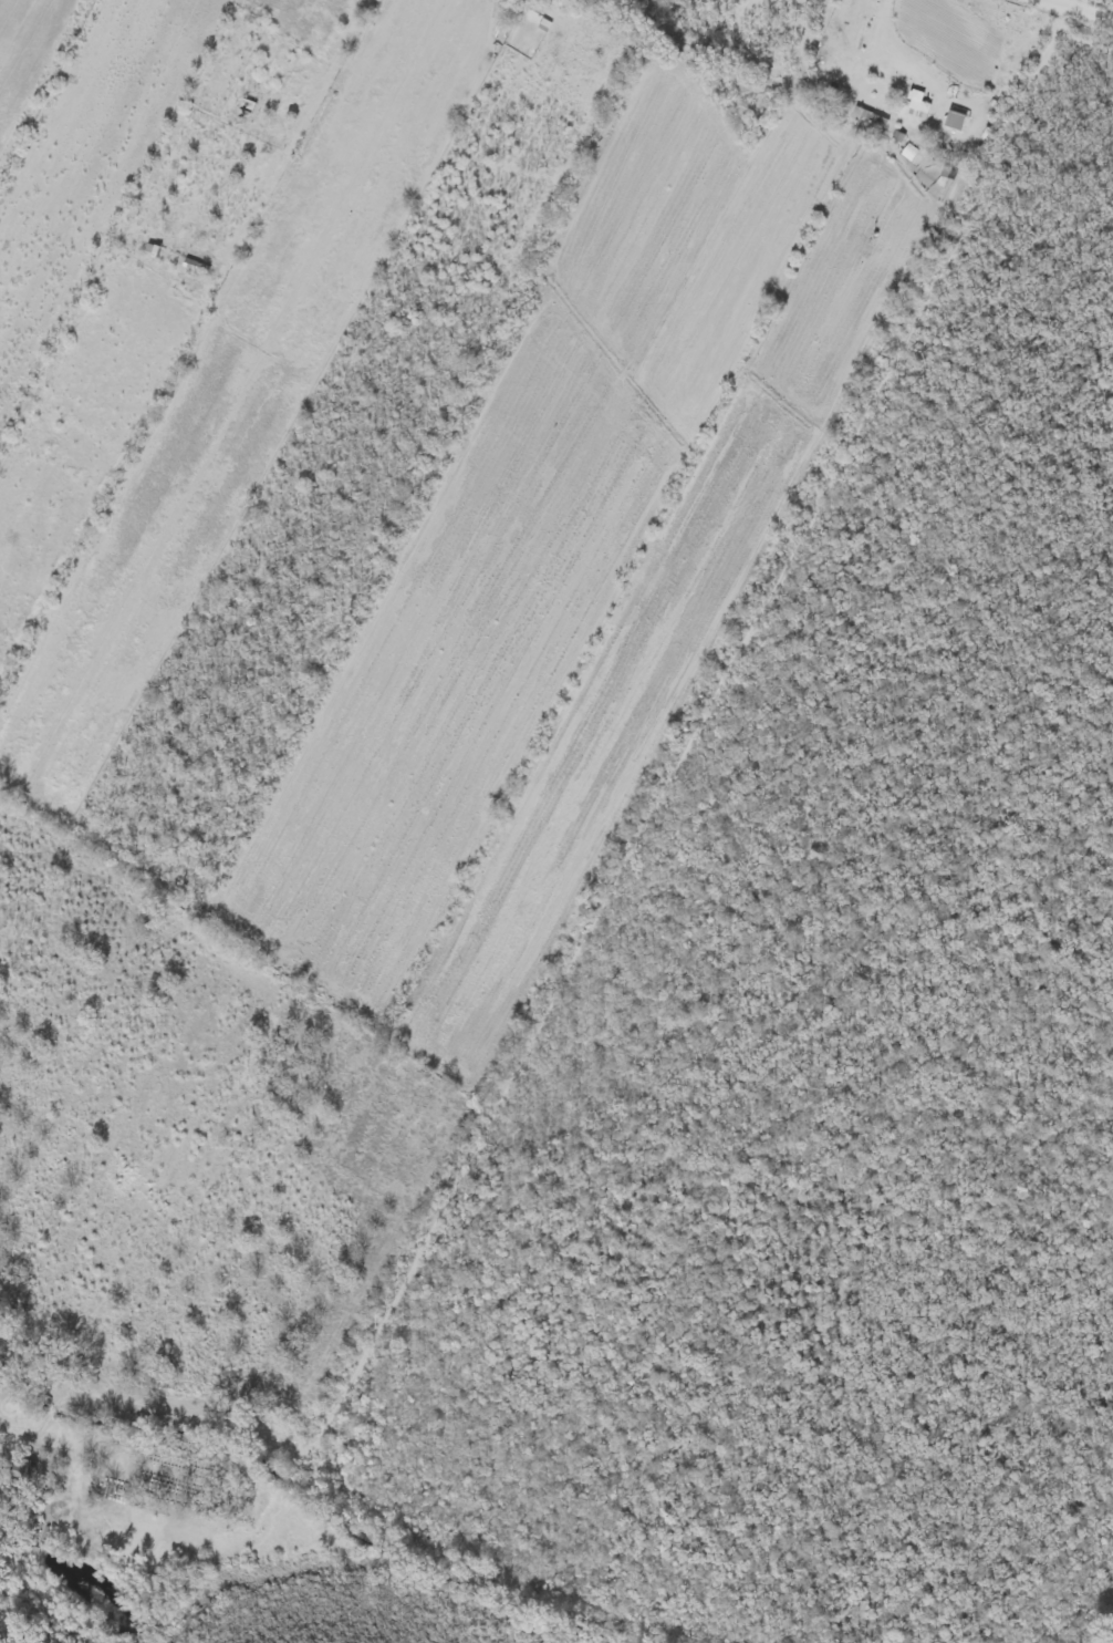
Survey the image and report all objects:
road: (1080, 10)

